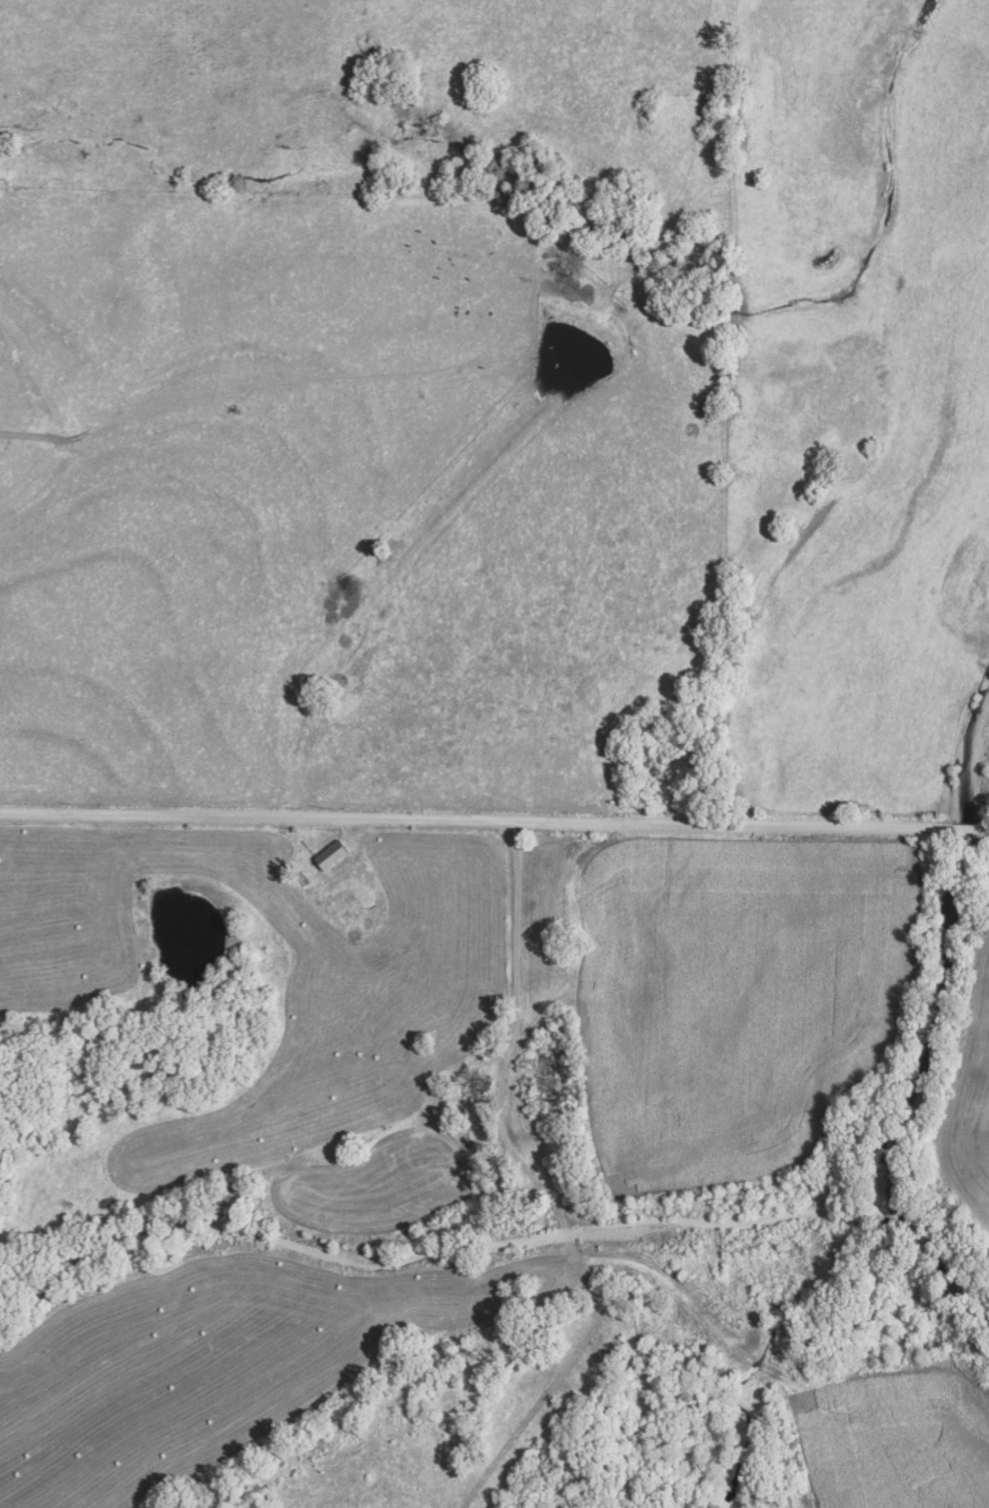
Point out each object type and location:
road: (494, 827)
building: (331, 855)
road: (517, 951)
building: (548, 1076)

